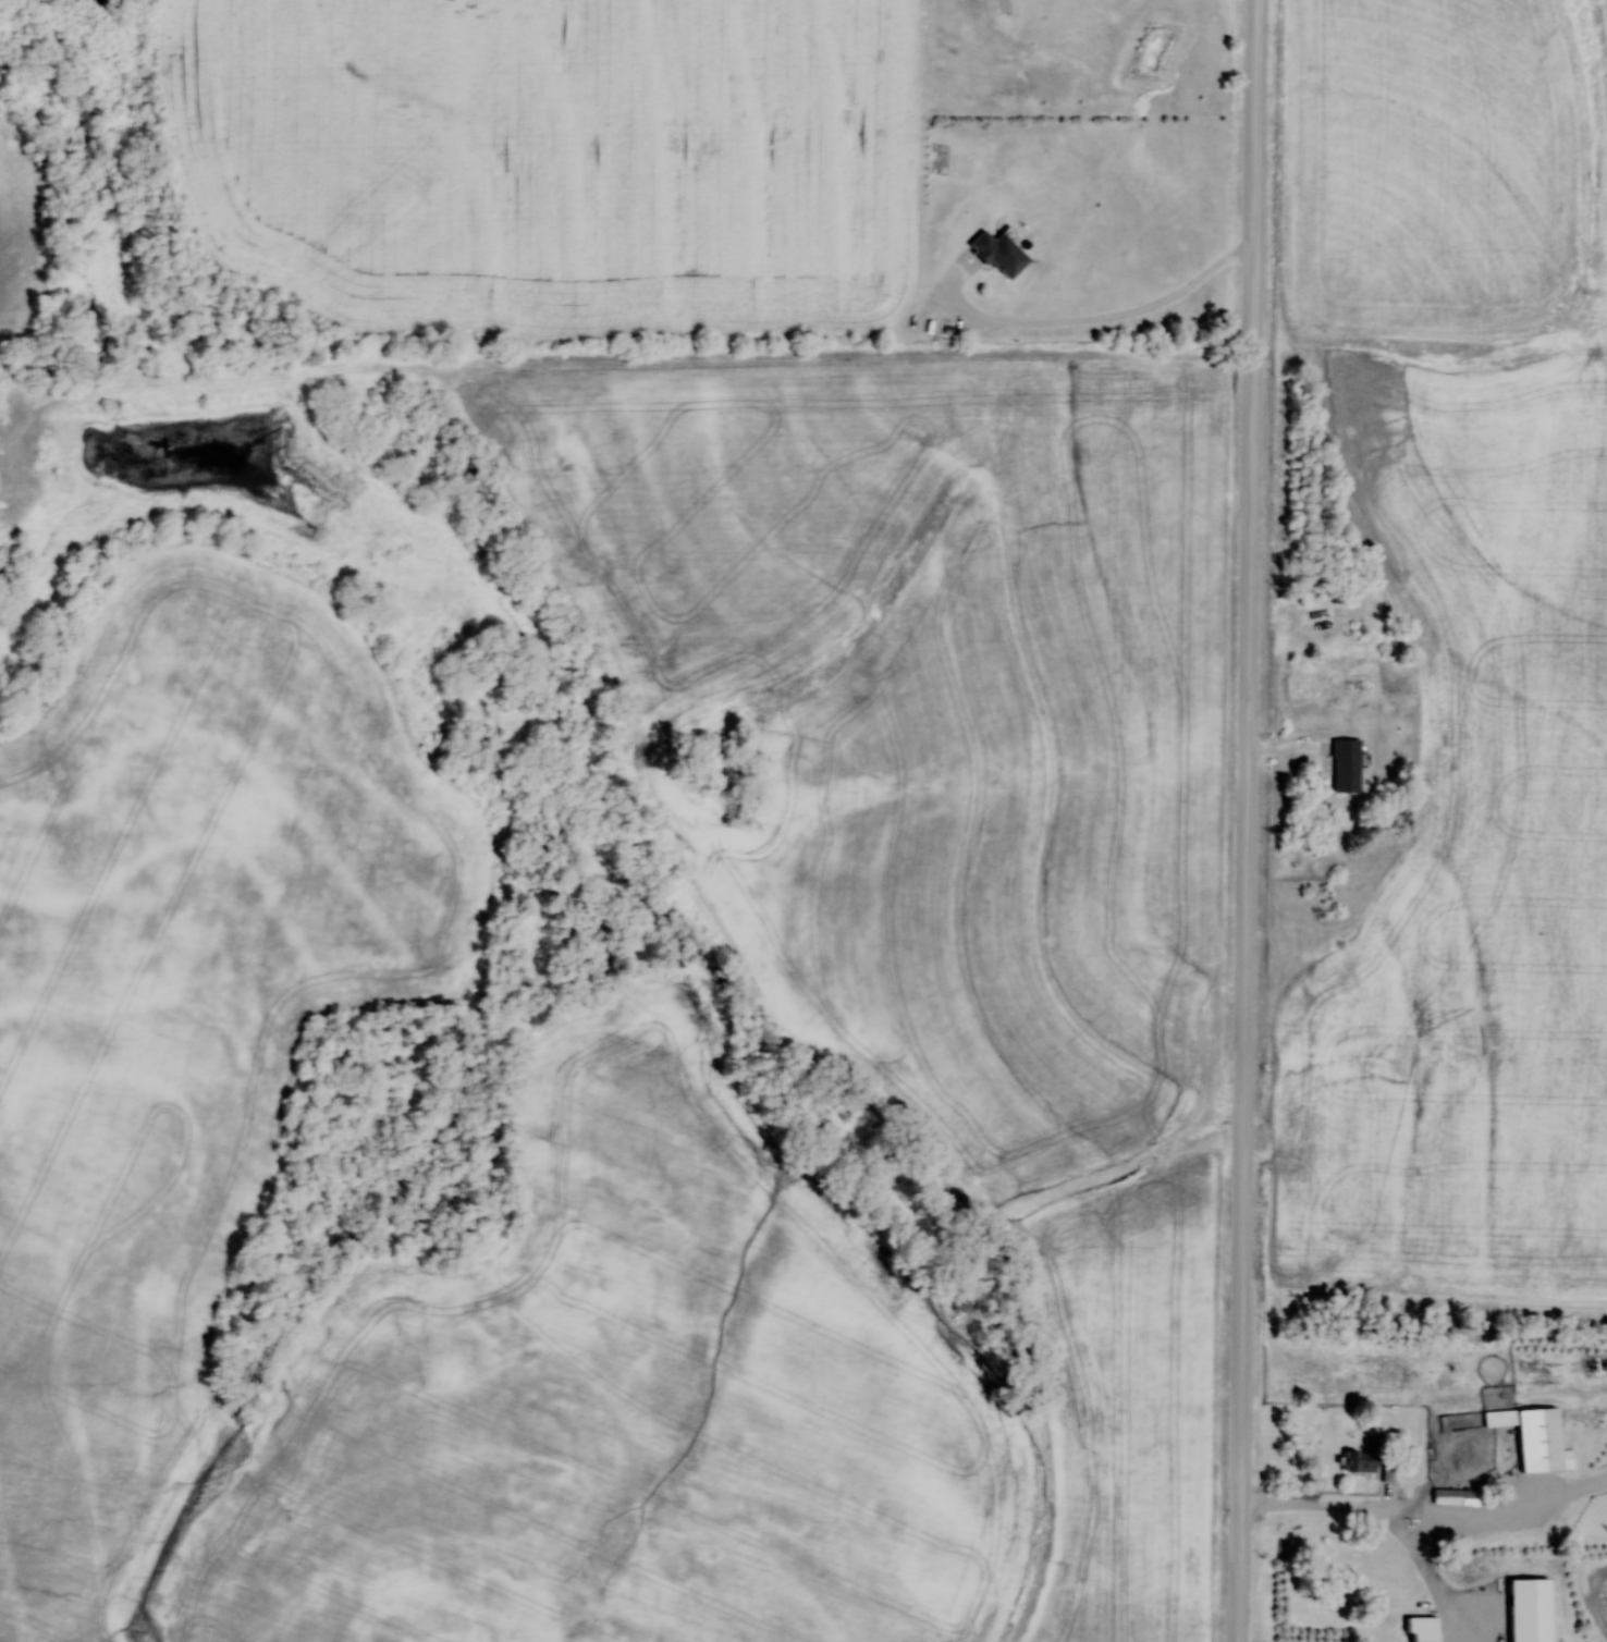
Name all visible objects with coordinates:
building: (999, 253)
building: (1346, 764)
road: (1248, 821)
building: (1535, 1437)
building: (1361, 1462)
building: (1457, 1497)
building: (1530, 1610)
building: (1423, 1629)

